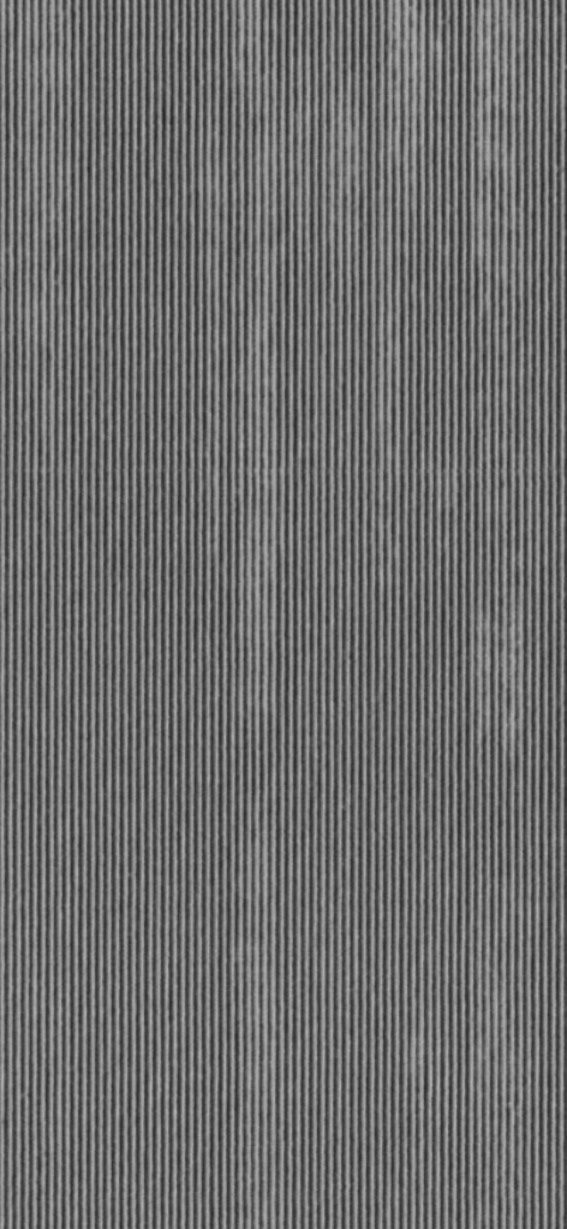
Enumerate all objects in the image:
crop: (283, 614)

